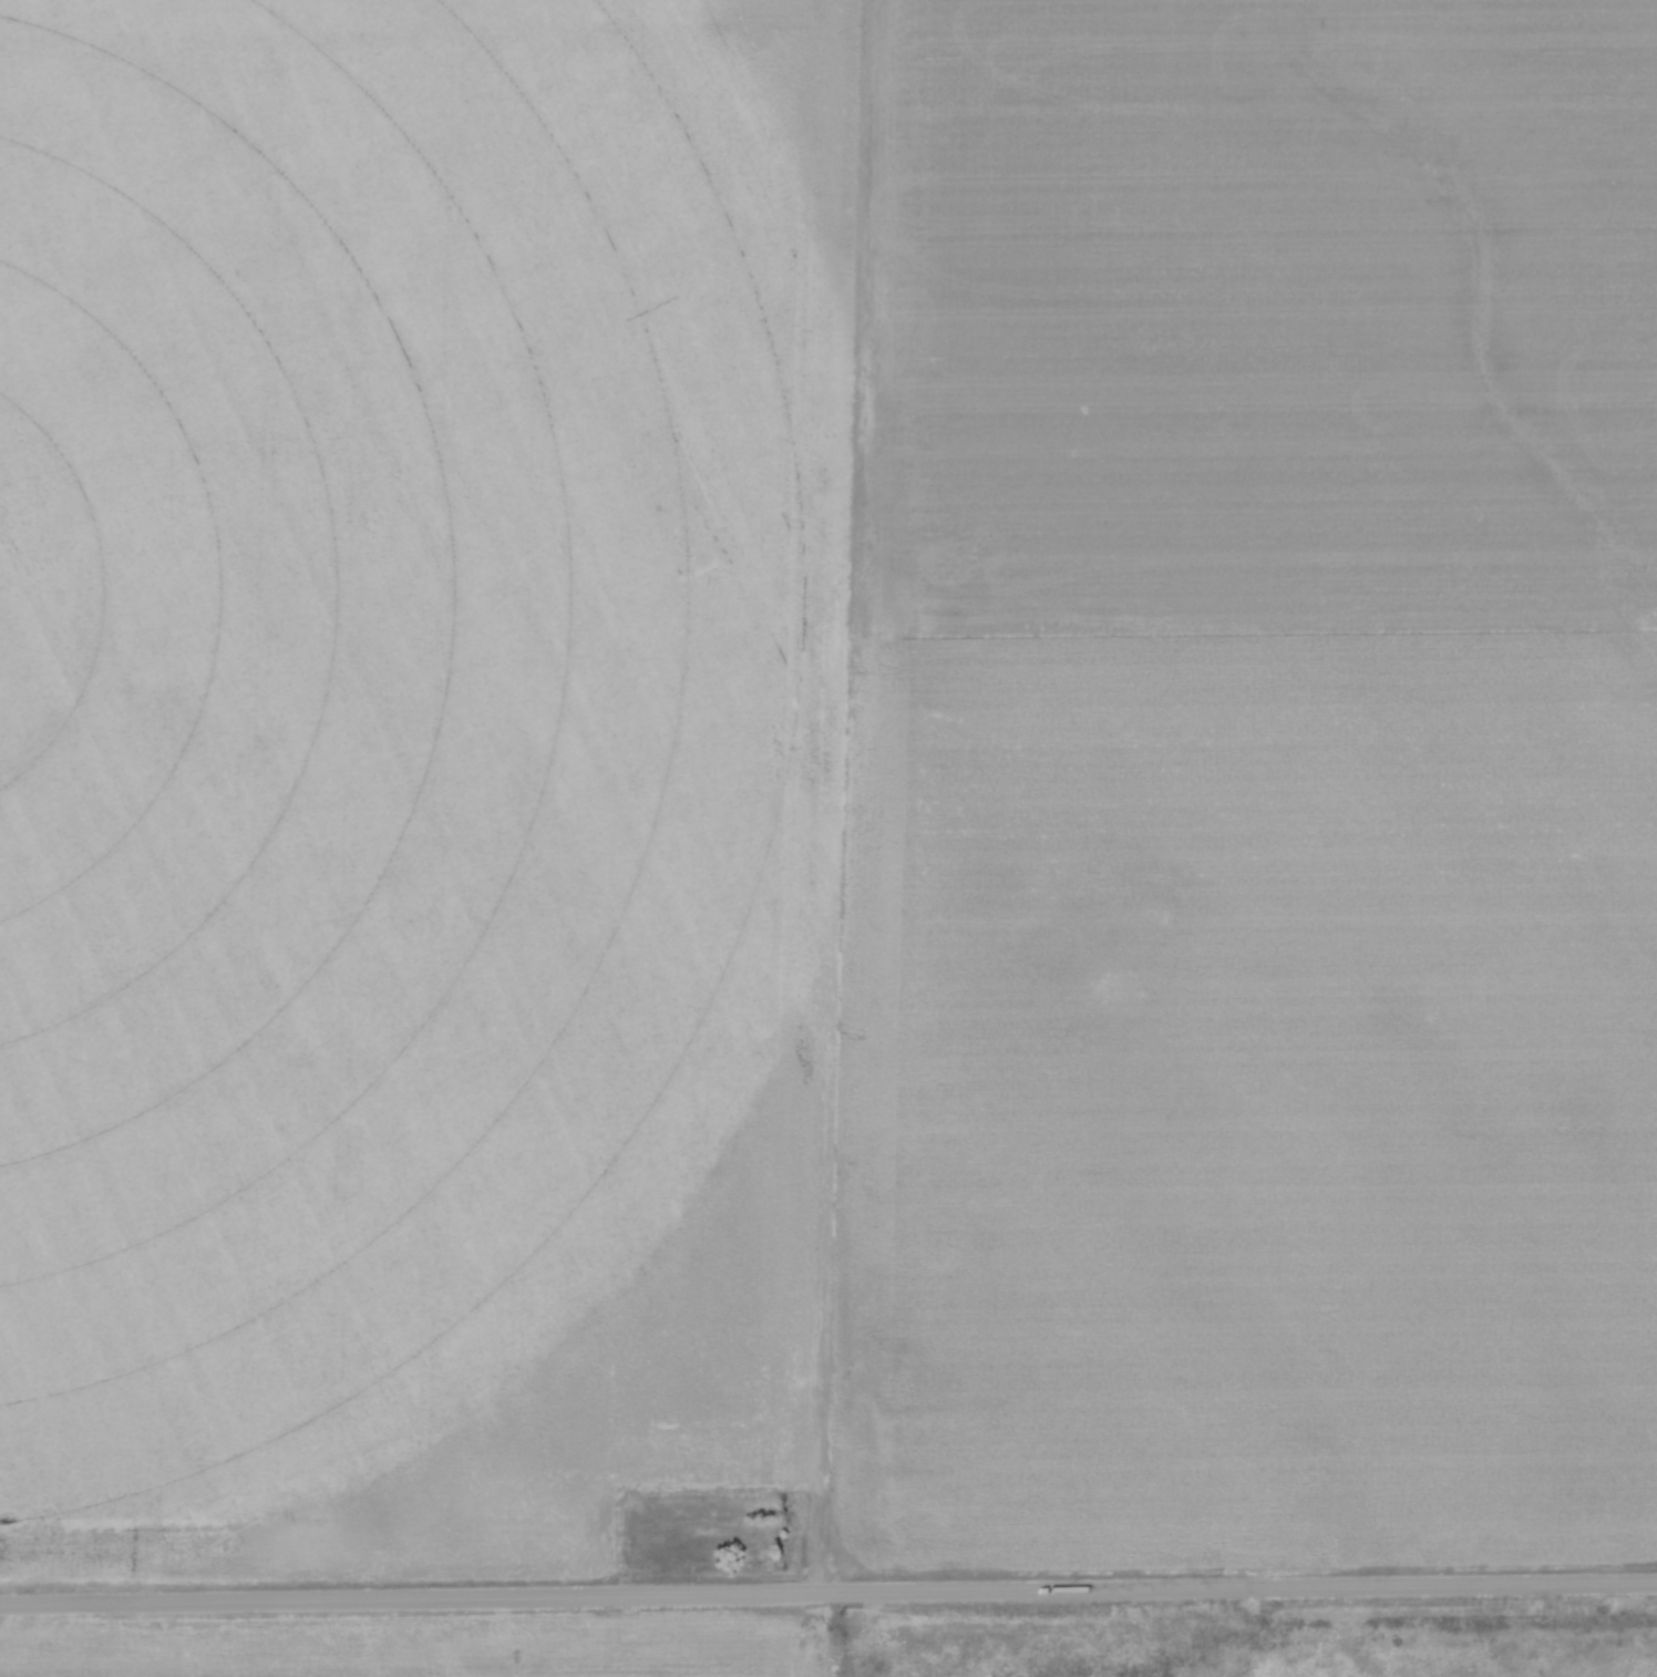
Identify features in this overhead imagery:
road: (828, 1596)

